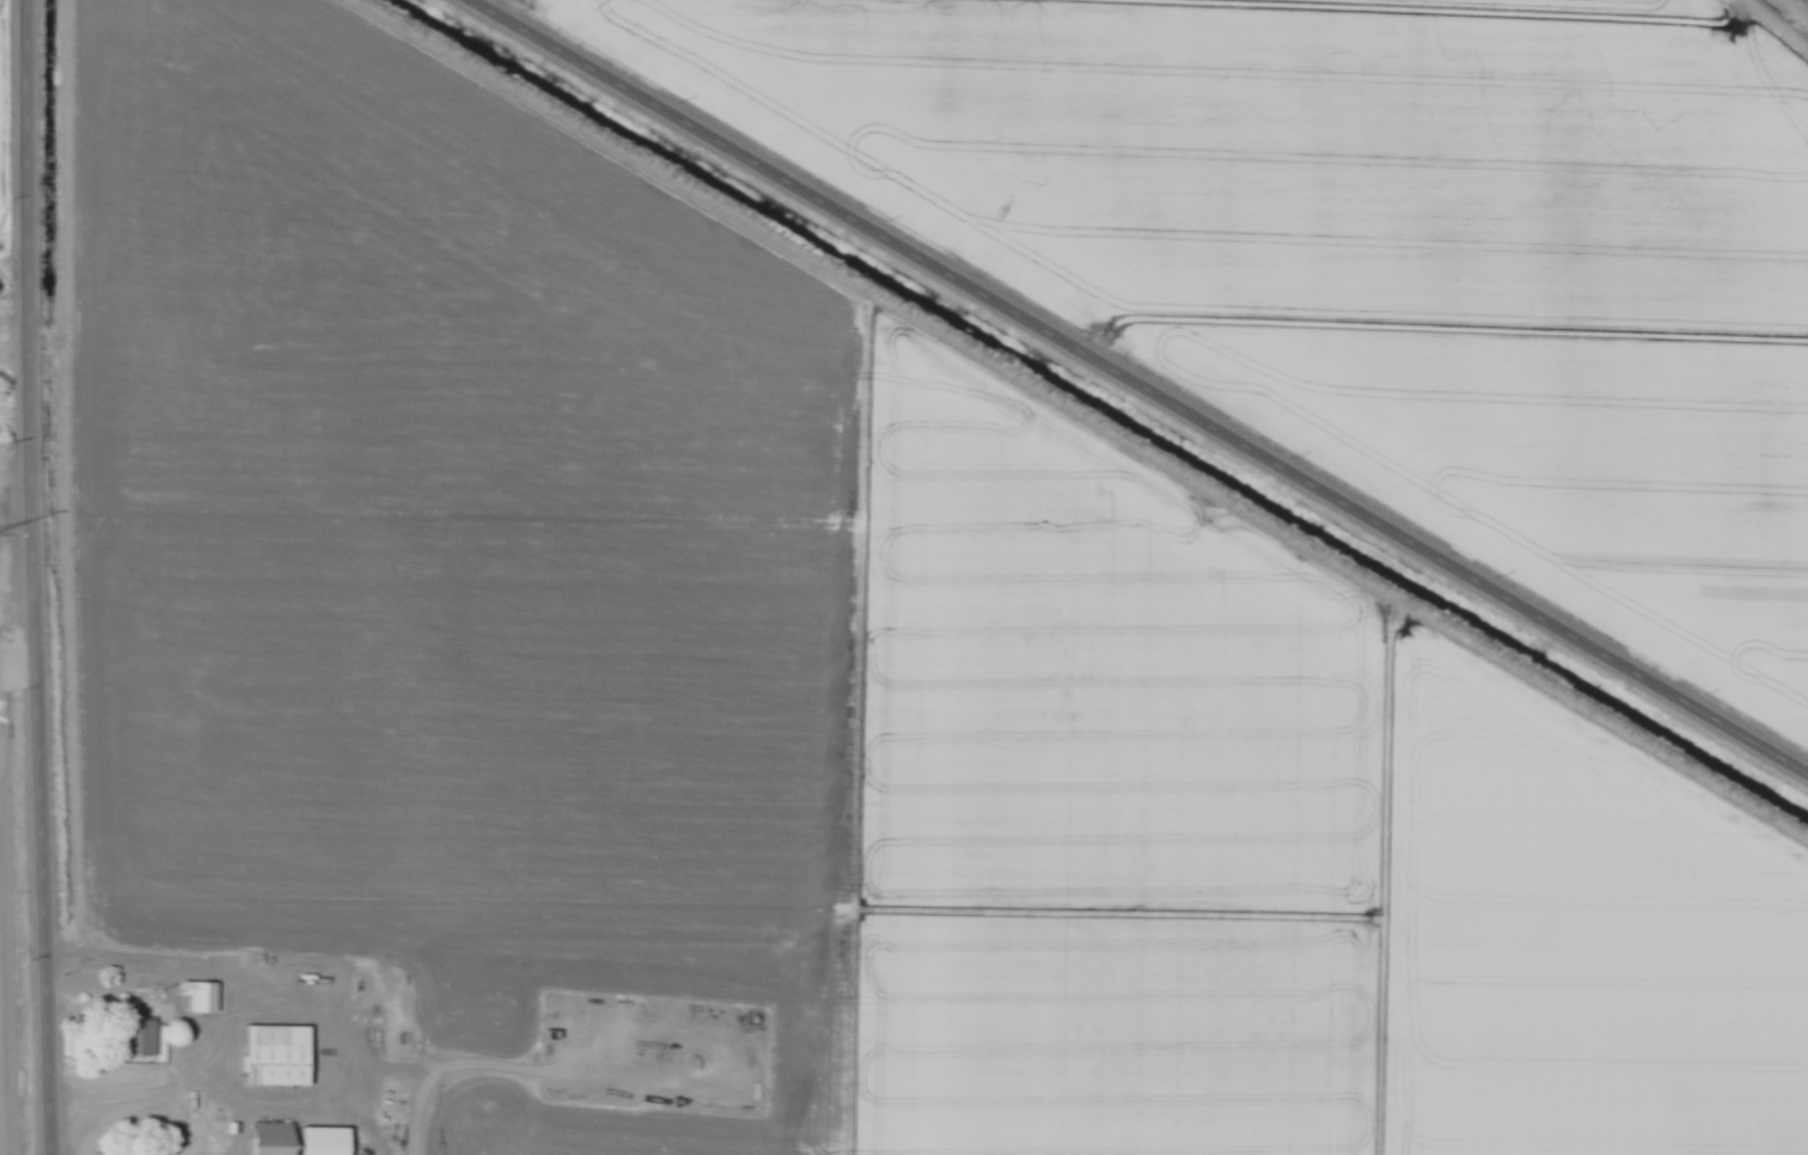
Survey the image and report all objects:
road: (1140, 386)
road: (37, 577)
road: (287, 967)
building: (202, 995)
building: (140, 1038)
building: (279, 1055)
building: (300, 1139)

